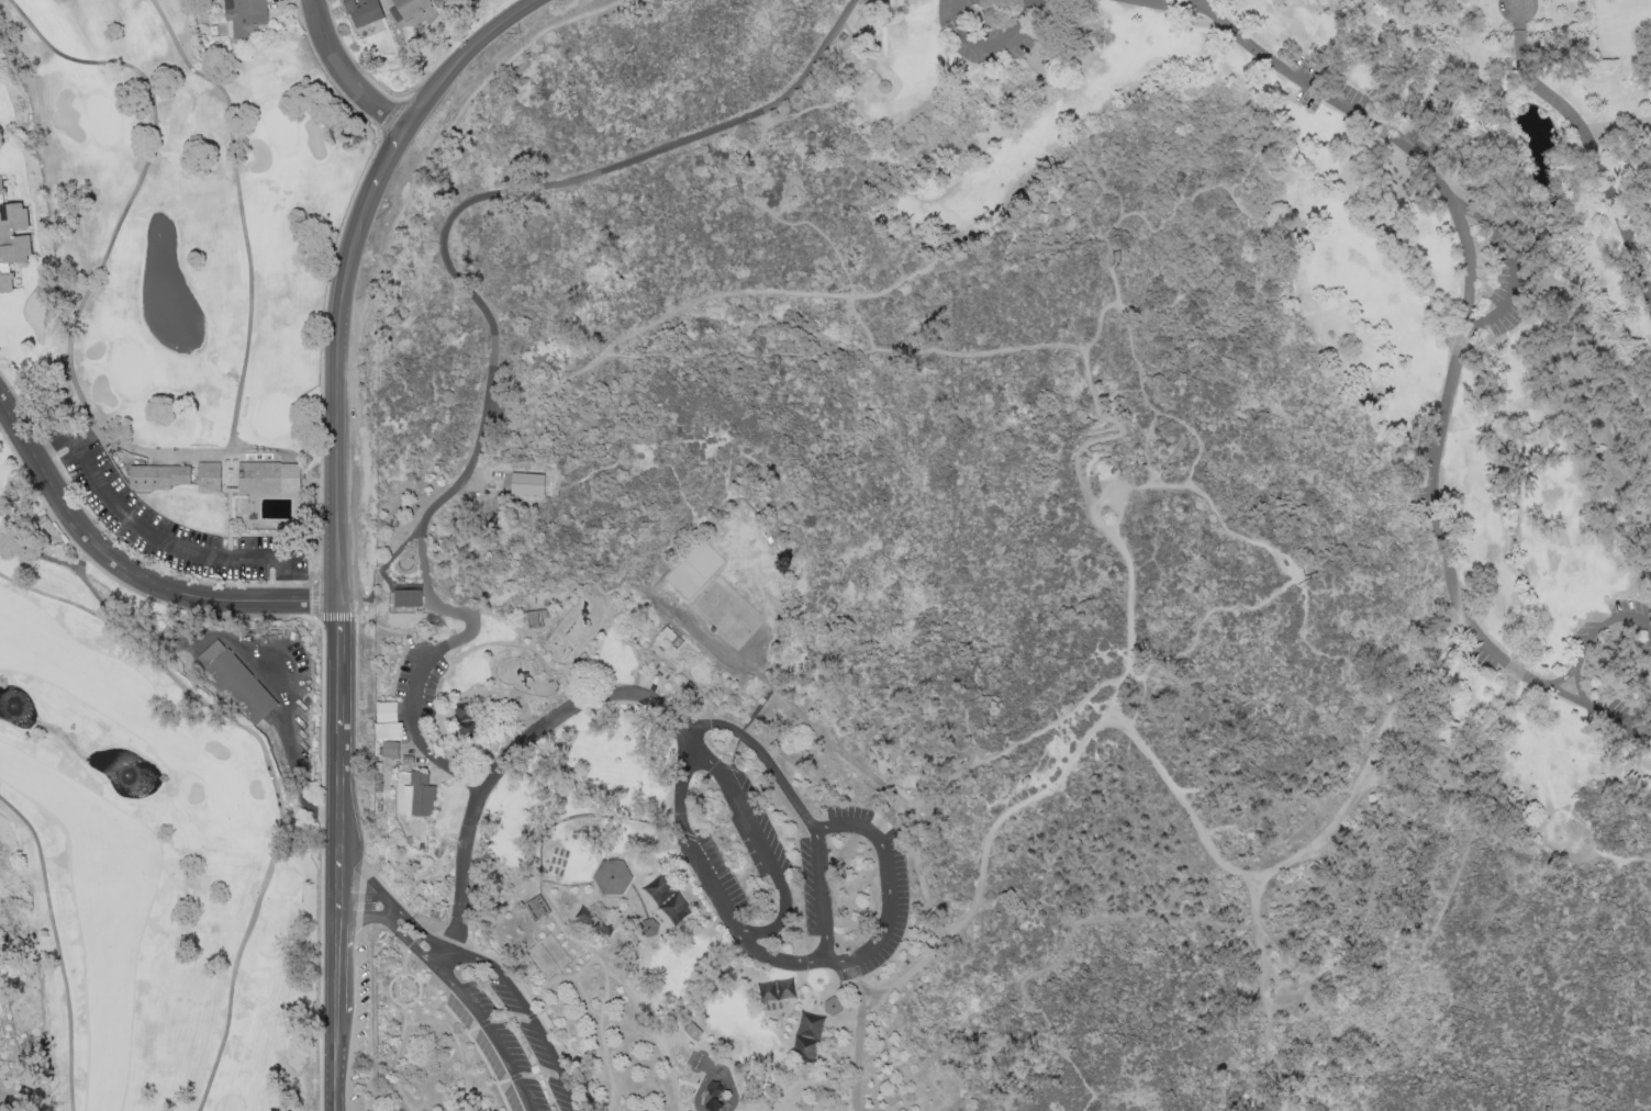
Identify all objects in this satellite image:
road: (1024, 1)
road: (1176, 1)
building: (410, 7)
building: (362, 11)
building: (244, 15)
road: (989, 44)
road: (861, 52)
road: (347, 76)
building: (883, 86)
road: (758, 123)
road: (1618, 127)
road: (406, 136)
road: (1591, 143)
road: (1521, 194)
road: (1230, 198)
road: (768, 212)
road: (1131, 215)
road: (1091, 218)
road: (449, 232)
building: (12, 238)
road: (1115, 261)
road: (1511, 261)
park: (193, 288)
road: (704, 301)
road: (1468, 302)
road: (1120, 315)
road: (844, 355)
road: (1107, 417)
road: (1148, 427)
road: (83, 430)
road: (1193, 434)
road: (130, 447)
road: (1172, 452)
road: (1129, 467)
road: (1147, 469)
road: (601, 470)
building: (221, 475)
road: (1106, 479)
road: (1156, 479)
building: (525, 483)
road: (1141, 486)
road: (1118, 512)
road: (1097, 519)
parking lot: (169, 520)
parking lot: (170, 520)
road: (157, 535)
road: (41, 554)
road: (1285, 571)
park: (1005, 572)
road: (127, 573)
road: (1309, 576)
road: (1296, 579)
road: (632, 592)
building: (406, 596)
road: (607, 598)
road: (167, 604)
park: (726, 615)
road: (497, 616)
building: (534, 618)
parking lot: (1597, 624)
road: (524, 646)
road: (460, 656)
parking lot: (1482, 659)
road: (546, 662)
road: (1575, 667)
road: (416, 672)
road: (1560, 676)
building: (236, 682)
road: (1145, 683)
road: (1563, 693)
road: (553, 696)
road: (339, 709)
road: (797, 709)
parking lot: (1628, 716)
building: (387, 720)
road: (723, 726)
road: (288, 736)
building: (390, 748)
road: (1011, 749)
building: (406, 759)
road: (433, 759)
road: (707, 759)
road: (503, 764)
road: (269, 775)
building: (421, 793)
road: (590, 815)
road: (756, 835)
road: (1622, 860)
road: (322, 862)
road: (1223, 864)
road: (704, 872)
parking lot: (796, 875)
building: (611, 876)
road: (981, 878)
road: (547, 882)
road: (886, 888)
building: (659, 889)
road: (821, 895)
road: (365, 896)
building: (535, 907)
building: (674, 908)
building: (585, 916)
road: (411, 922)
road: (776, 923)
building: (602, 925)
building: (648, 925)
road: (404, 936)
building: (416, 940)
road: (56, 949)
road: (1425, 949)
road: (765, 956)
road: (404, 957)
road: (560, 978)
road: (395, 979)
road: (414, 979)
road: (391, 981)
road: (404, 981)
road: (398, 989)
road: (410, 989)
road: (412, 989)
building: (784, 989)
building: (767, 990)
road: (395, 991)
road: (405, 996)
road: (585, 997)
road: (395, 998)
road: (413, 999)
road: (1026, 999)
road: (1263, 1000)
road: (604, 1002)
building: (832, 1005)
road: (534, 1008)
road: (404, 1013)
road: (532, 1014)
road: (509, 1015)
road: (483, 1022)
building: (810, 1025)
road: (472, 1029)
building: (692, 1030)
road: (650, 1034)
road: (545, 1041)
parking lot: (512, 1043)
road: (372, 1044)
road: (497, 1044)
road: (459, 1046)
building: (803, 1050)
road: (856, 1052)
road: (480, 1055)
road: (393, 1068)
road: (537, 1074)
road: (515, 1076)
road: (1073, 1076)
road: (502, 1080)
road: (684, 1081)
road: (1547, 1109)
road: (1643, 1109)

